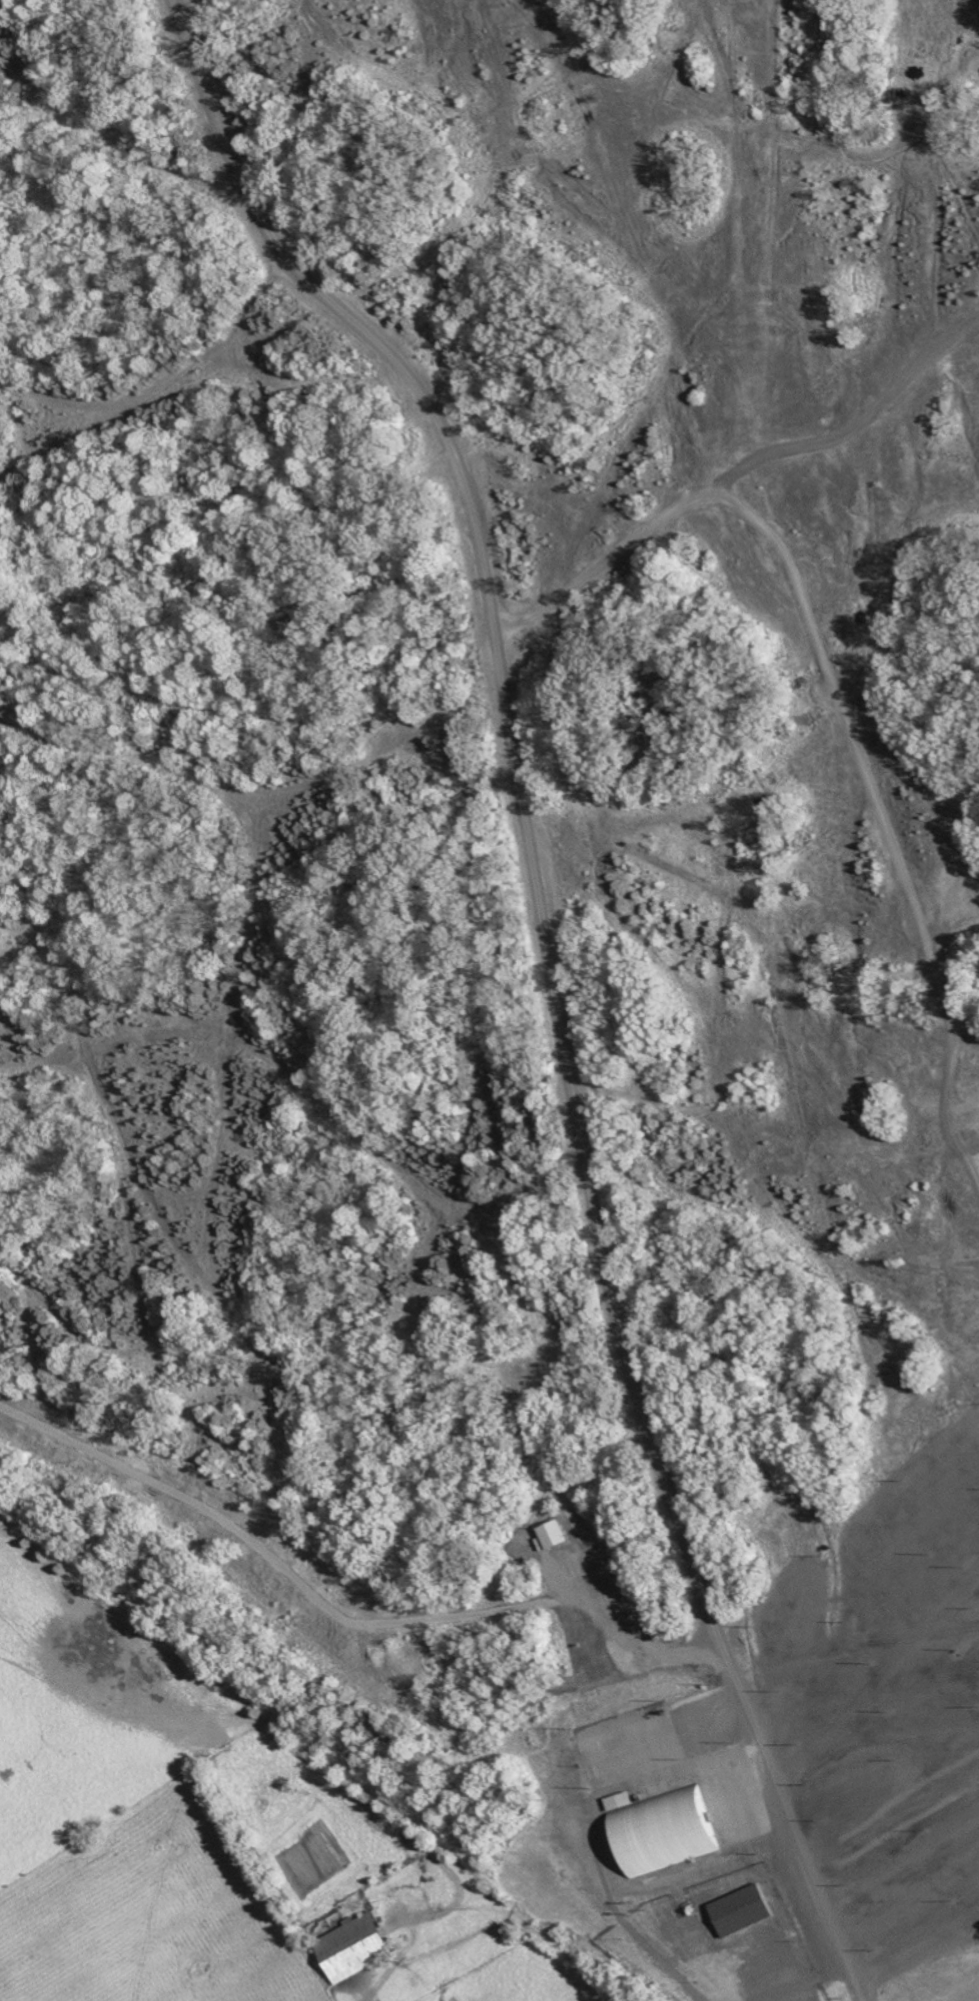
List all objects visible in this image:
road: (839, 703)
road: (552, 975)
building: (550, 1533)
road: (581, 1591)
road: (891, 1689)
road: (883, 1782)
building: (657, 1830)
building: (738, 1910)
building: (350, 1947)
road: (921, 1947)

